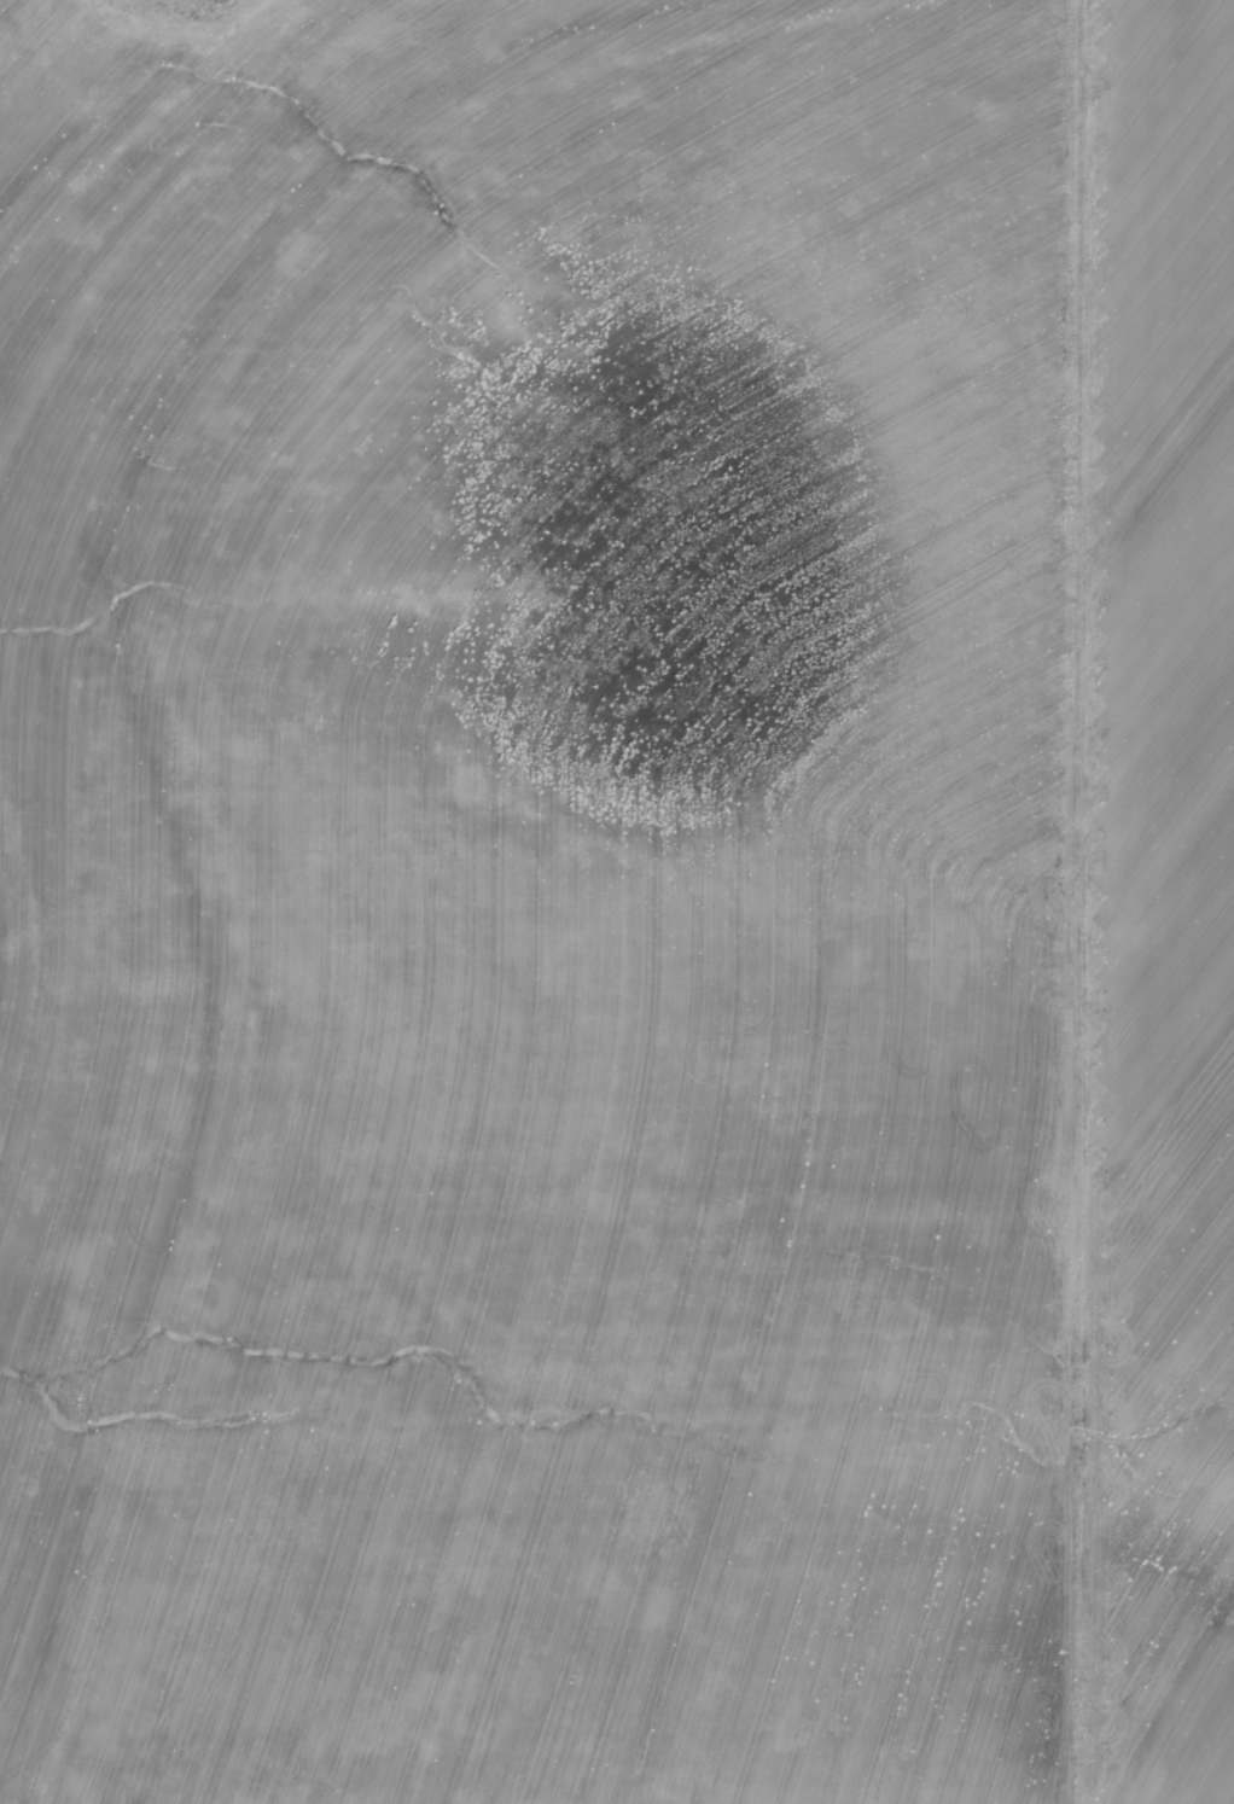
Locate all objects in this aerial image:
road: (1046, 902)

